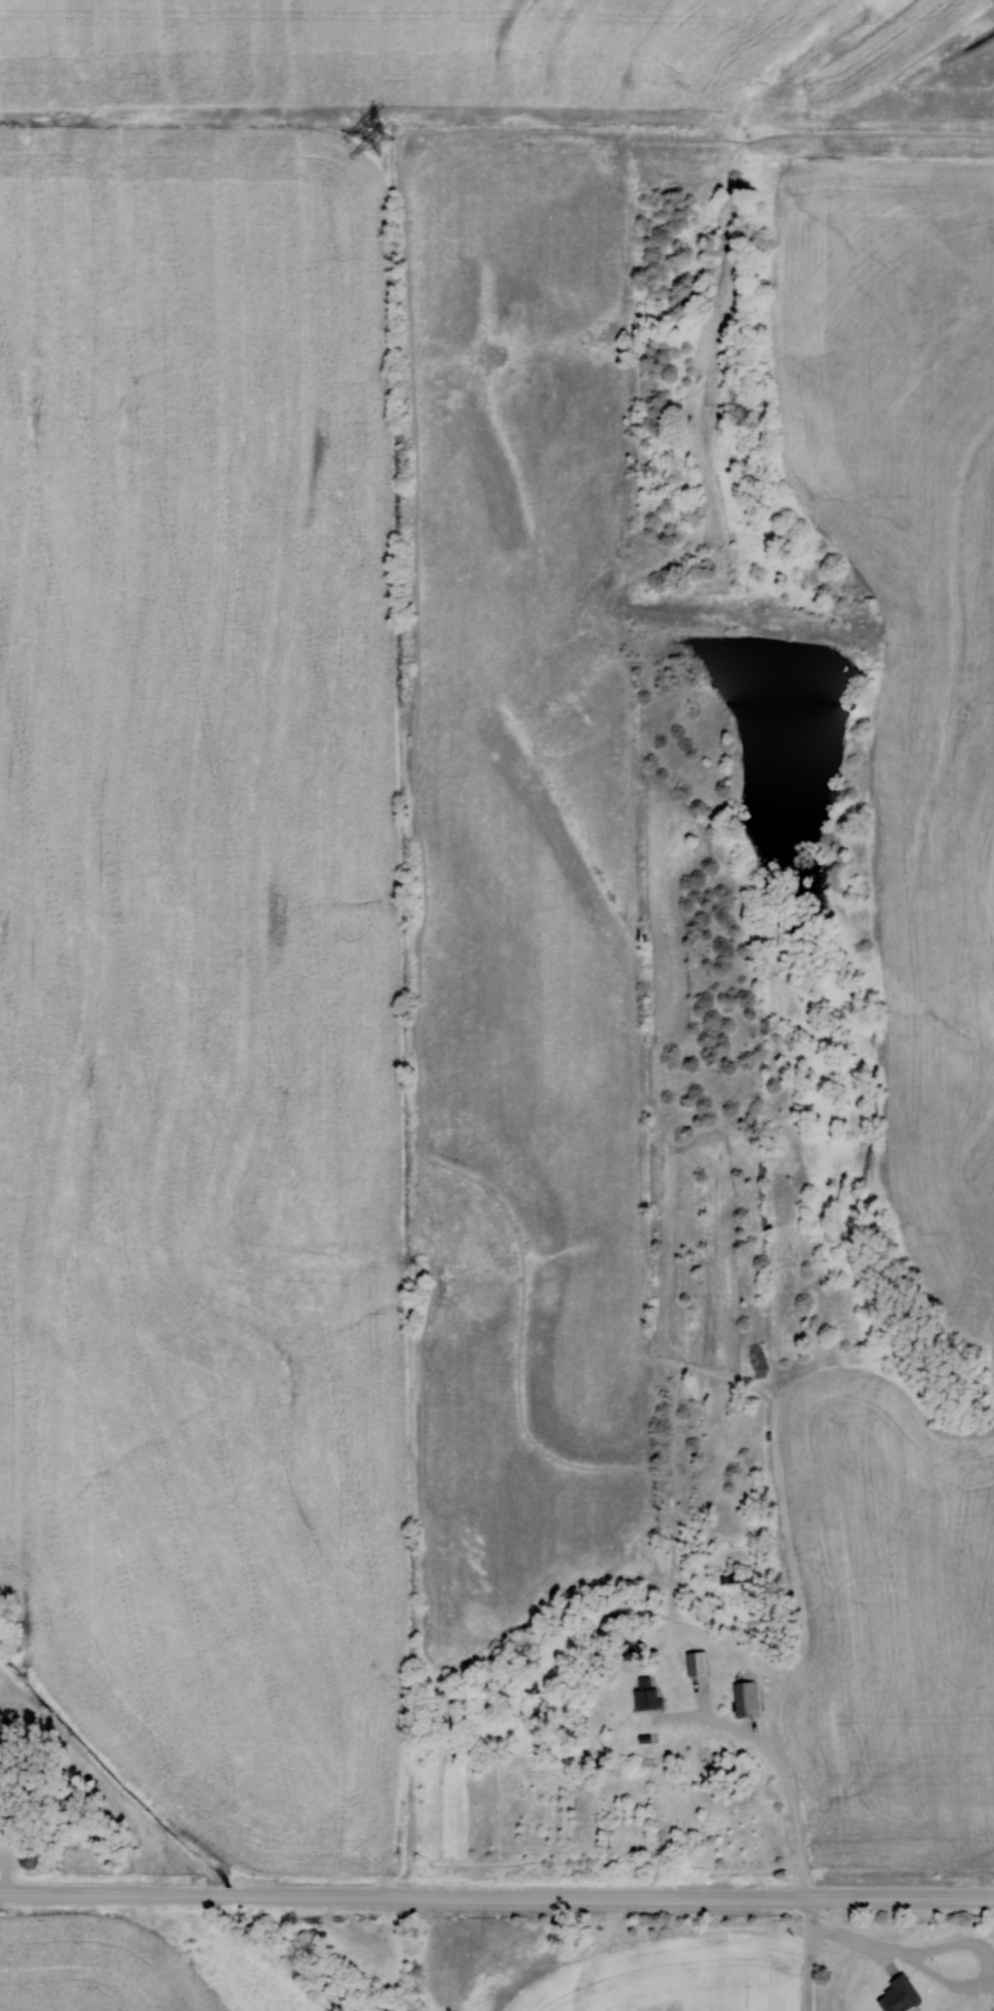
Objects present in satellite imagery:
power tower: (374, 141)
building: (700, 1663)
building: (650, 1694)
building: (746, 1699)
road: (600, 1758)
building: (33, 1859)
road: (18, 1877)
road: (496, 1893)
road: (804, 1952)
building: (906, 1995)

